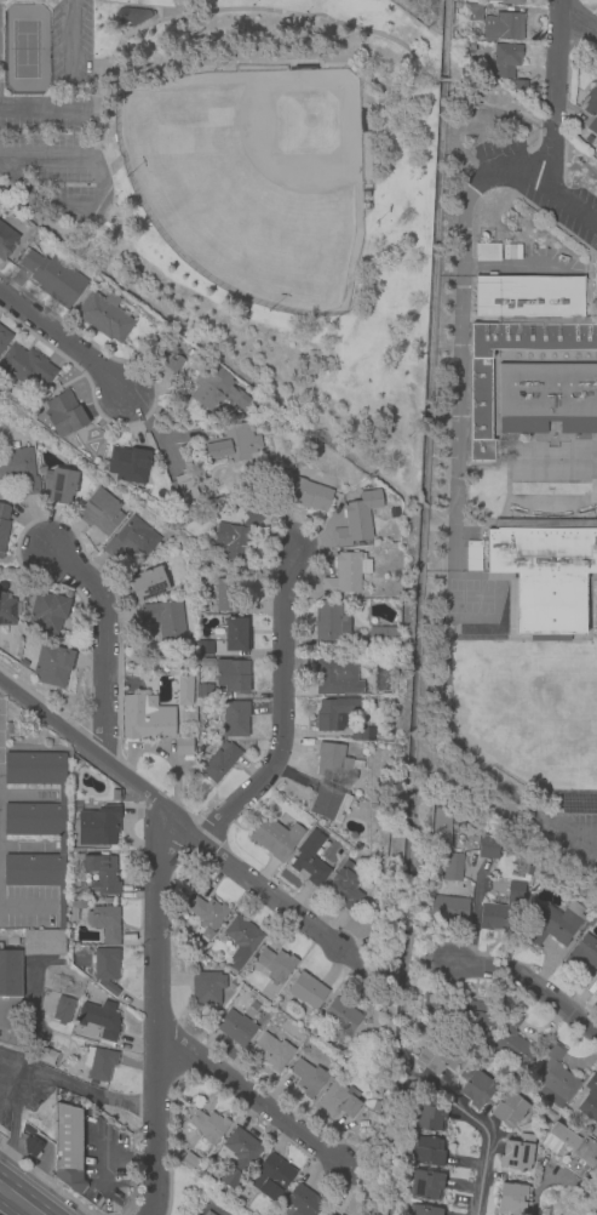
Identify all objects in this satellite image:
building: (511, 1)
road: (159, 10)
road: (225, 11)
building: (472, 12)
building: (132, 16)
road: (580, 24)
building: (503, 27)
road: (122, 34)
park: (24, 50)
building: (506, 59)
road: (561, 63)
road: (246, 64)
road: (442, 80)
building: (519, 85)
road: (394, 90)
road: (73, 91)
building: (591, 101)
road: (503, 112)
parking lot: (58, 126)
building: (592, 126)
road: (549, 156)
road: (61, 159)
road: (84, 161)
road: (113, 167)
road: (96, 170)
park: (249, 181)
parking lot: (533, 184)
park: (245, 189)
road: (544, 189)
road: (99, 194)
road: (75, 206)
road: (553, 224)
building: (6, 241)
building: (488, 253)
building: (507, 253)
road: (591, 253)
road: (586, 276)
building: (53, 279)
building: (104, 315)
building: (519, 335)
building: (4, 338)
road: (65, 343)
road: (207, 347)
building: (166, 361)
building: (25, 365)
road: (459, 365)
building: (217, 389)
building: (546, 398)
building: (64, 415)
building: (234, 444)
building: (128, 464)
building: (18, 470)
building: (167, 470)
building: (59, 486)
building: (183, 489)
building: (310, 496)
road: (421, 504)
building: (101, 512)
road: (436, 515)
building: (357, 519)
building: (2, 525)
building: (132, 540)
building: (235, 541)
building: (472, 557)
building: (545, 570)
building: (345, 574)
building: (147, 586)
building: (229, 595)
building: (7, 610)
building: (46, 615)
building: (165, 620)
building: (329, 622)
building: (236, 635)
building: (384, 637)
road: (108, 646)
building: (205, 649)
building: (22, 663)
building: (52, 666)
building: (234, 674)
building: (335, 678)
building: (183, 690)
building: (205, 692)
building: (334, 714)
road: (287, 715)
park: (568, 718)
building: (145, 719)
building: (235, 719)
building: (10, 729)
building: (362, 734)
building: (184, 746)
building: (220, 764)
building: (335, 764)
building: (114, 794)
building: (326, 803)
road: (173, 811)
building: (35, 822)
building: (98, 826)
building: (442, 829)
parking lot: (569, 835)
road: (586, 835)
building: (276, 839)
road: (586, 843)
building: (488, 844)
building: (310, 860)
building: (453, 867)
building: (529, 871)
building: (102, 874)
building: (345, 886)
building: (78, 906)
parking lot: (29, 907)
road: (25, 908)
building: (448, 911)
building: (504, 912)
building: (206, 917)
building: (105, 924)
building: (555, 924)
building: (241, 940)
building: (44, 941)
building: (581, 954)
building: (276, 964)
building: (105, 968)
building: (10, 974)
road: (528, 985)
building: (207, 988)
building: (306, 991)
building: (596, 991)
building: (596, 993)
building: (62, 1010)
road: (165, 1012)
building: (461, 1012)
building: (341, 1016)
building: (97, 1020)
building: (235, 1028)
building: (513, 1042)
building: (274, 1051)
building: (47, 1057)
building: (437, 1057)
building: (99, 1065)
road: (29, 1077)
building: (308, 1078)
building: (556, 1078)
parking lot: (21, 1086)
building: (476, 1088)
road: (109, 1100)
road: (256, 1100)
building: (590, 1100)
building: (338, 1101)
building: (375, 1106)
building: (510, 1110)
road: (6, 1111)
building: (429, 1117)
building: (208, 1126)
road: (10, 1140)
road: (486, 1141)
building: (31, 1146)
building: (68, 1147)
building: (572, 1147)
building: (430, 1152)
building: (517, 1154)
building: (237, 1156)
road: (131, 1159)
building: (189, 1160)
parking lot: (104, 1164)
road: (104, 1171)
building: (270, 1177)
building: (427, 1186)
road: (540, 1192)
building: (511, 1199)
road: (19, 1200)
building: (304, 1202)
road: (208, 1205)
building: (425, 1210)
building: (208, 1214)
building: (325, 1214)
building: (339, 1214)

